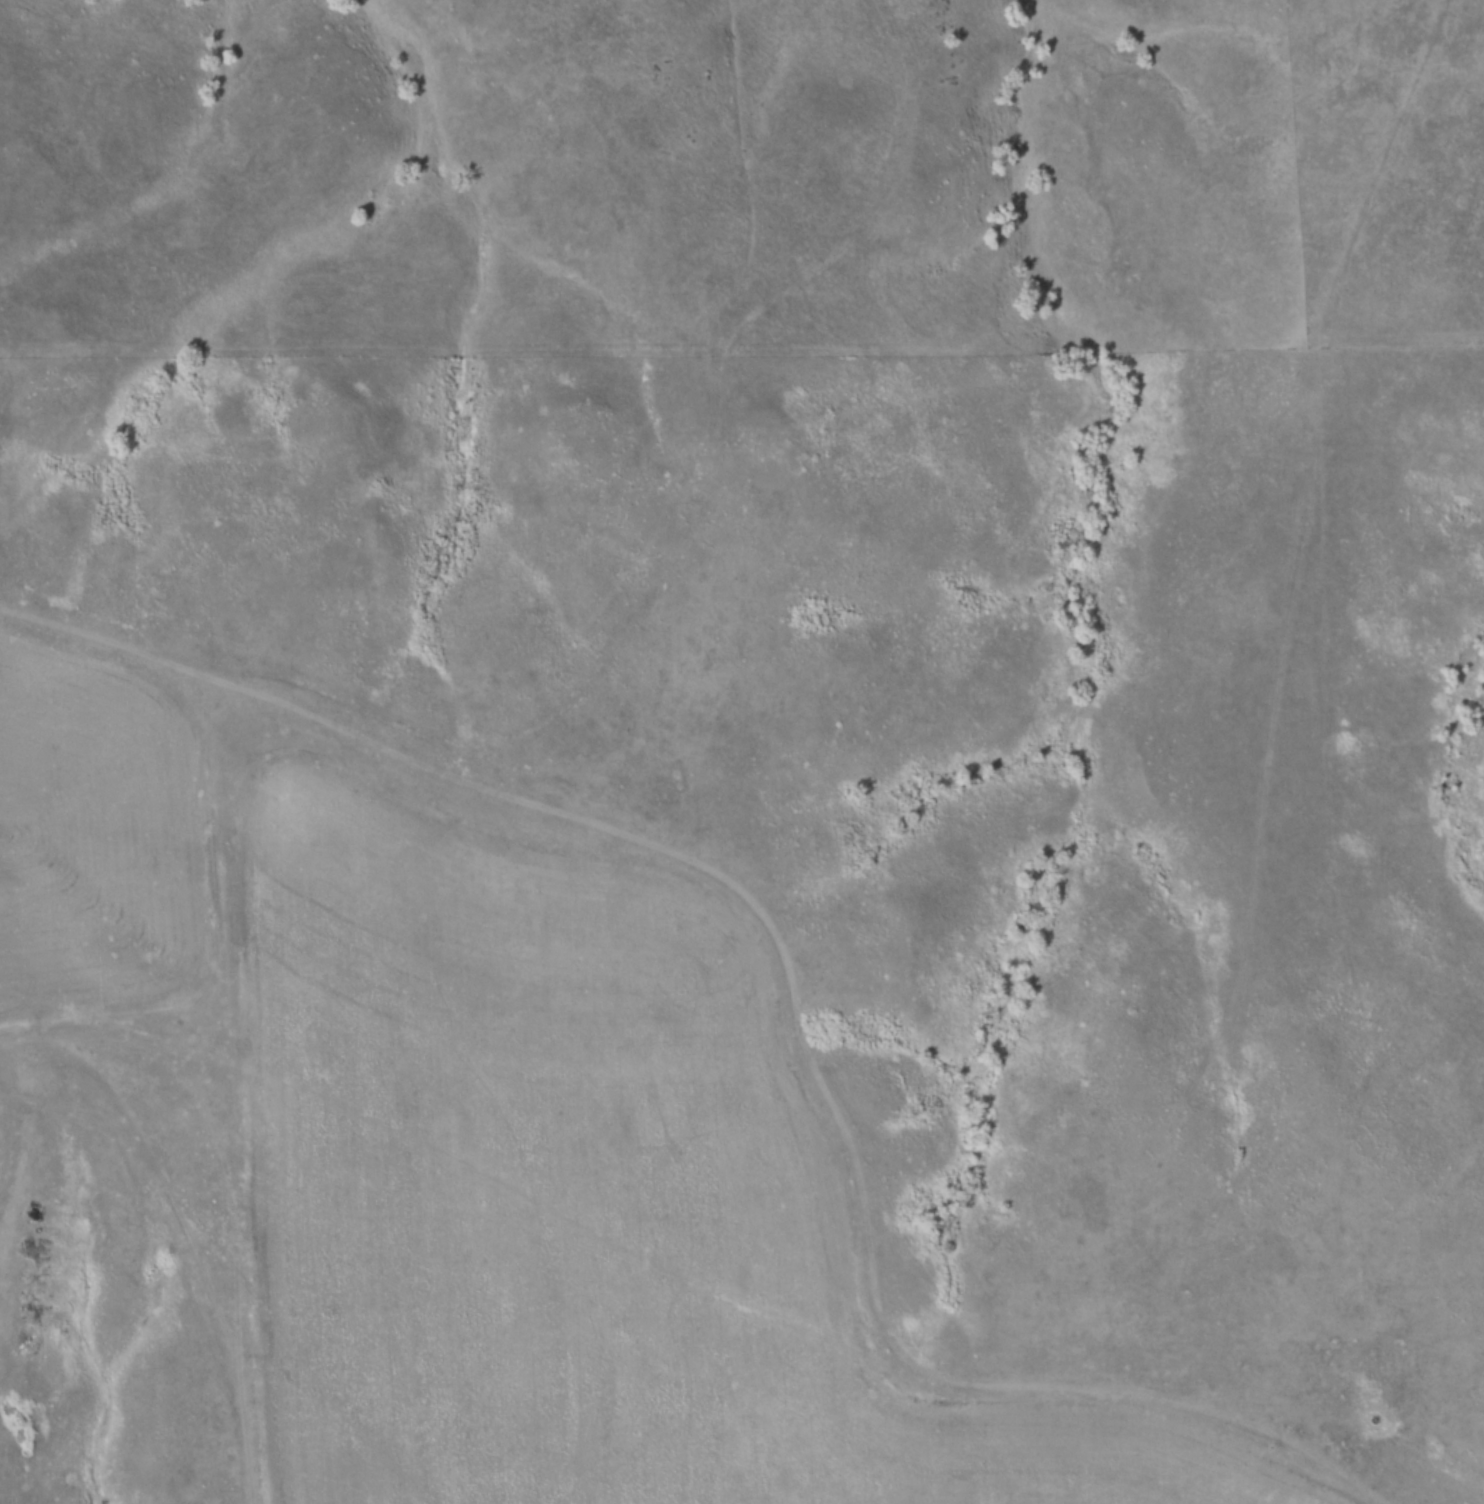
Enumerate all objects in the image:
crop: (98, 842)
road: (795, 998)
crop: (578, 1203)

